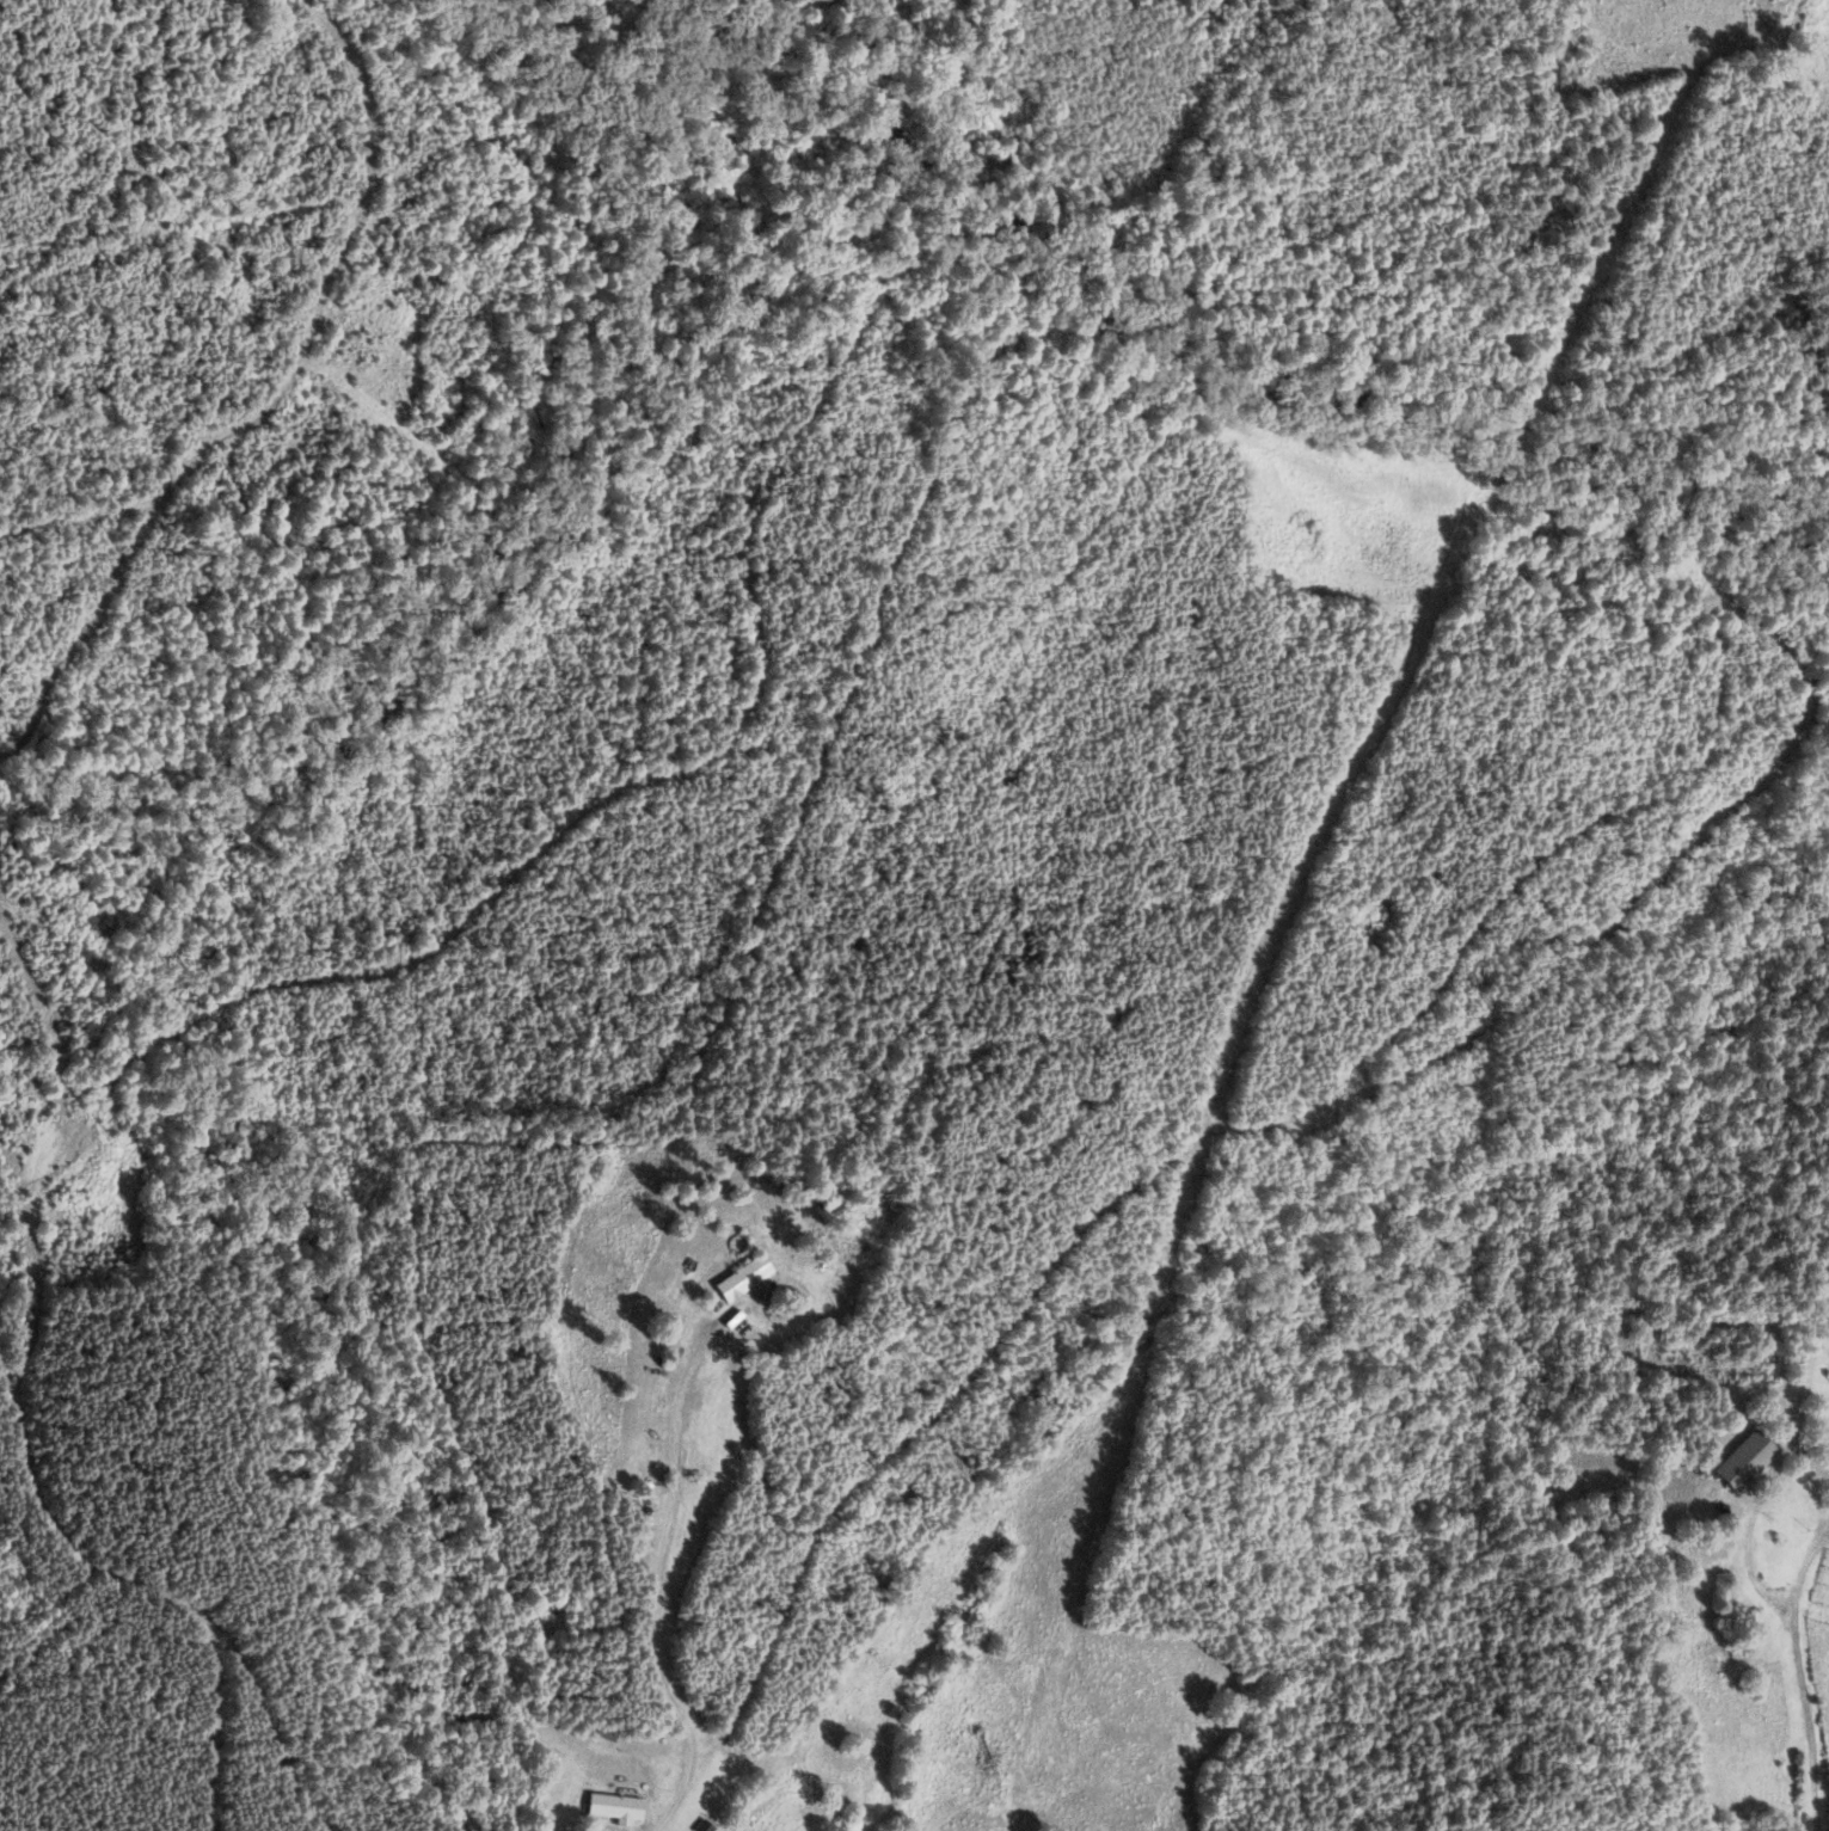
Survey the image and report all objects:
building: (743, 1279)
building: (1743, 1470)
road: (655, 1580)
road: (1800, 1672)
building: (613, 1807)

